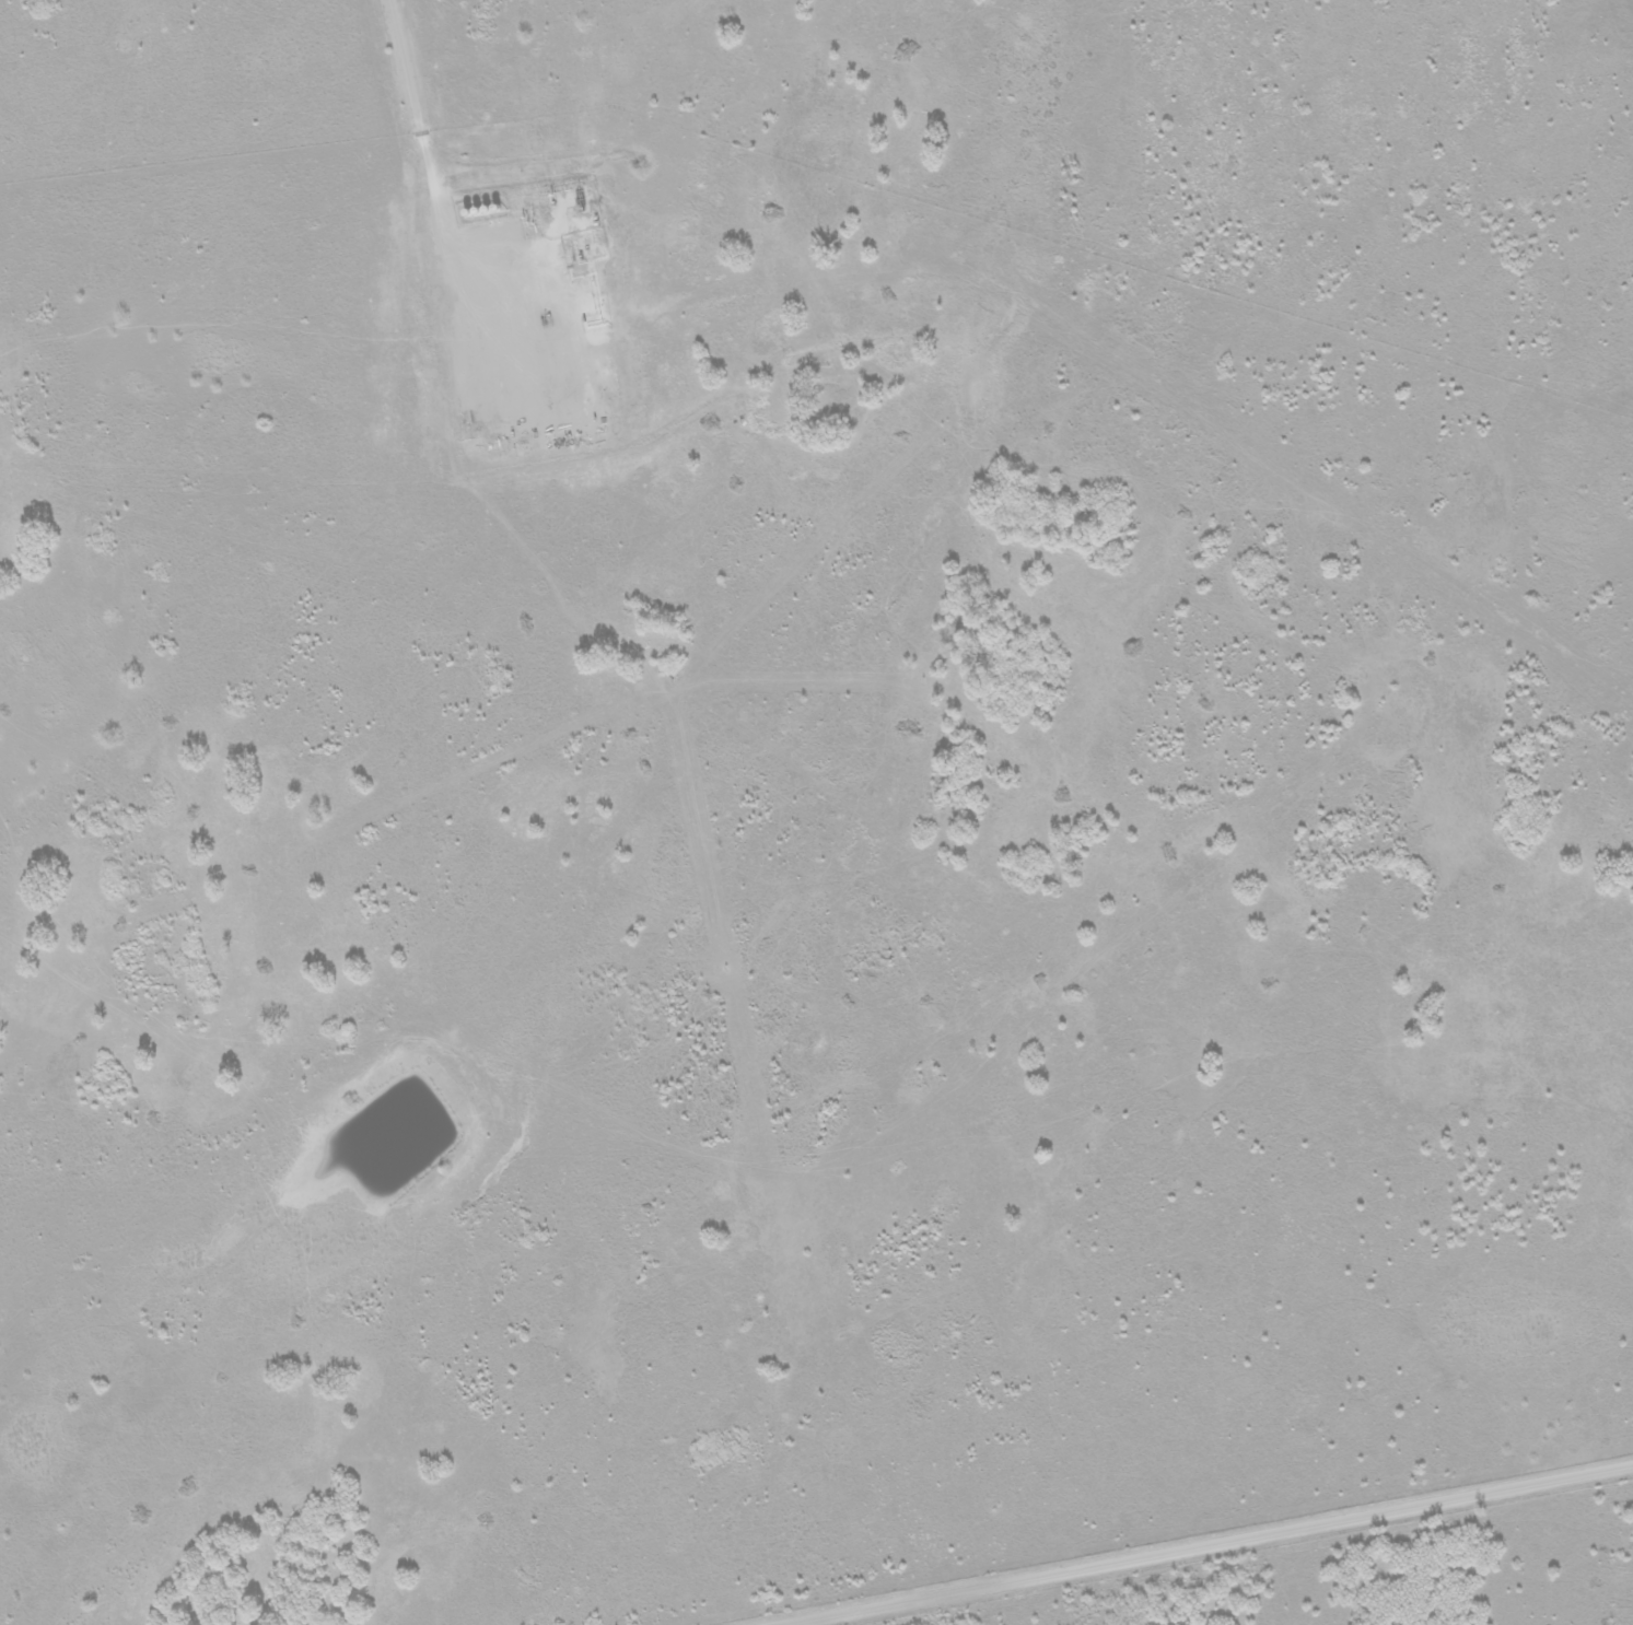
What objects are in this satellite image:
road: (565, 802)
road: (1201, 1543)

